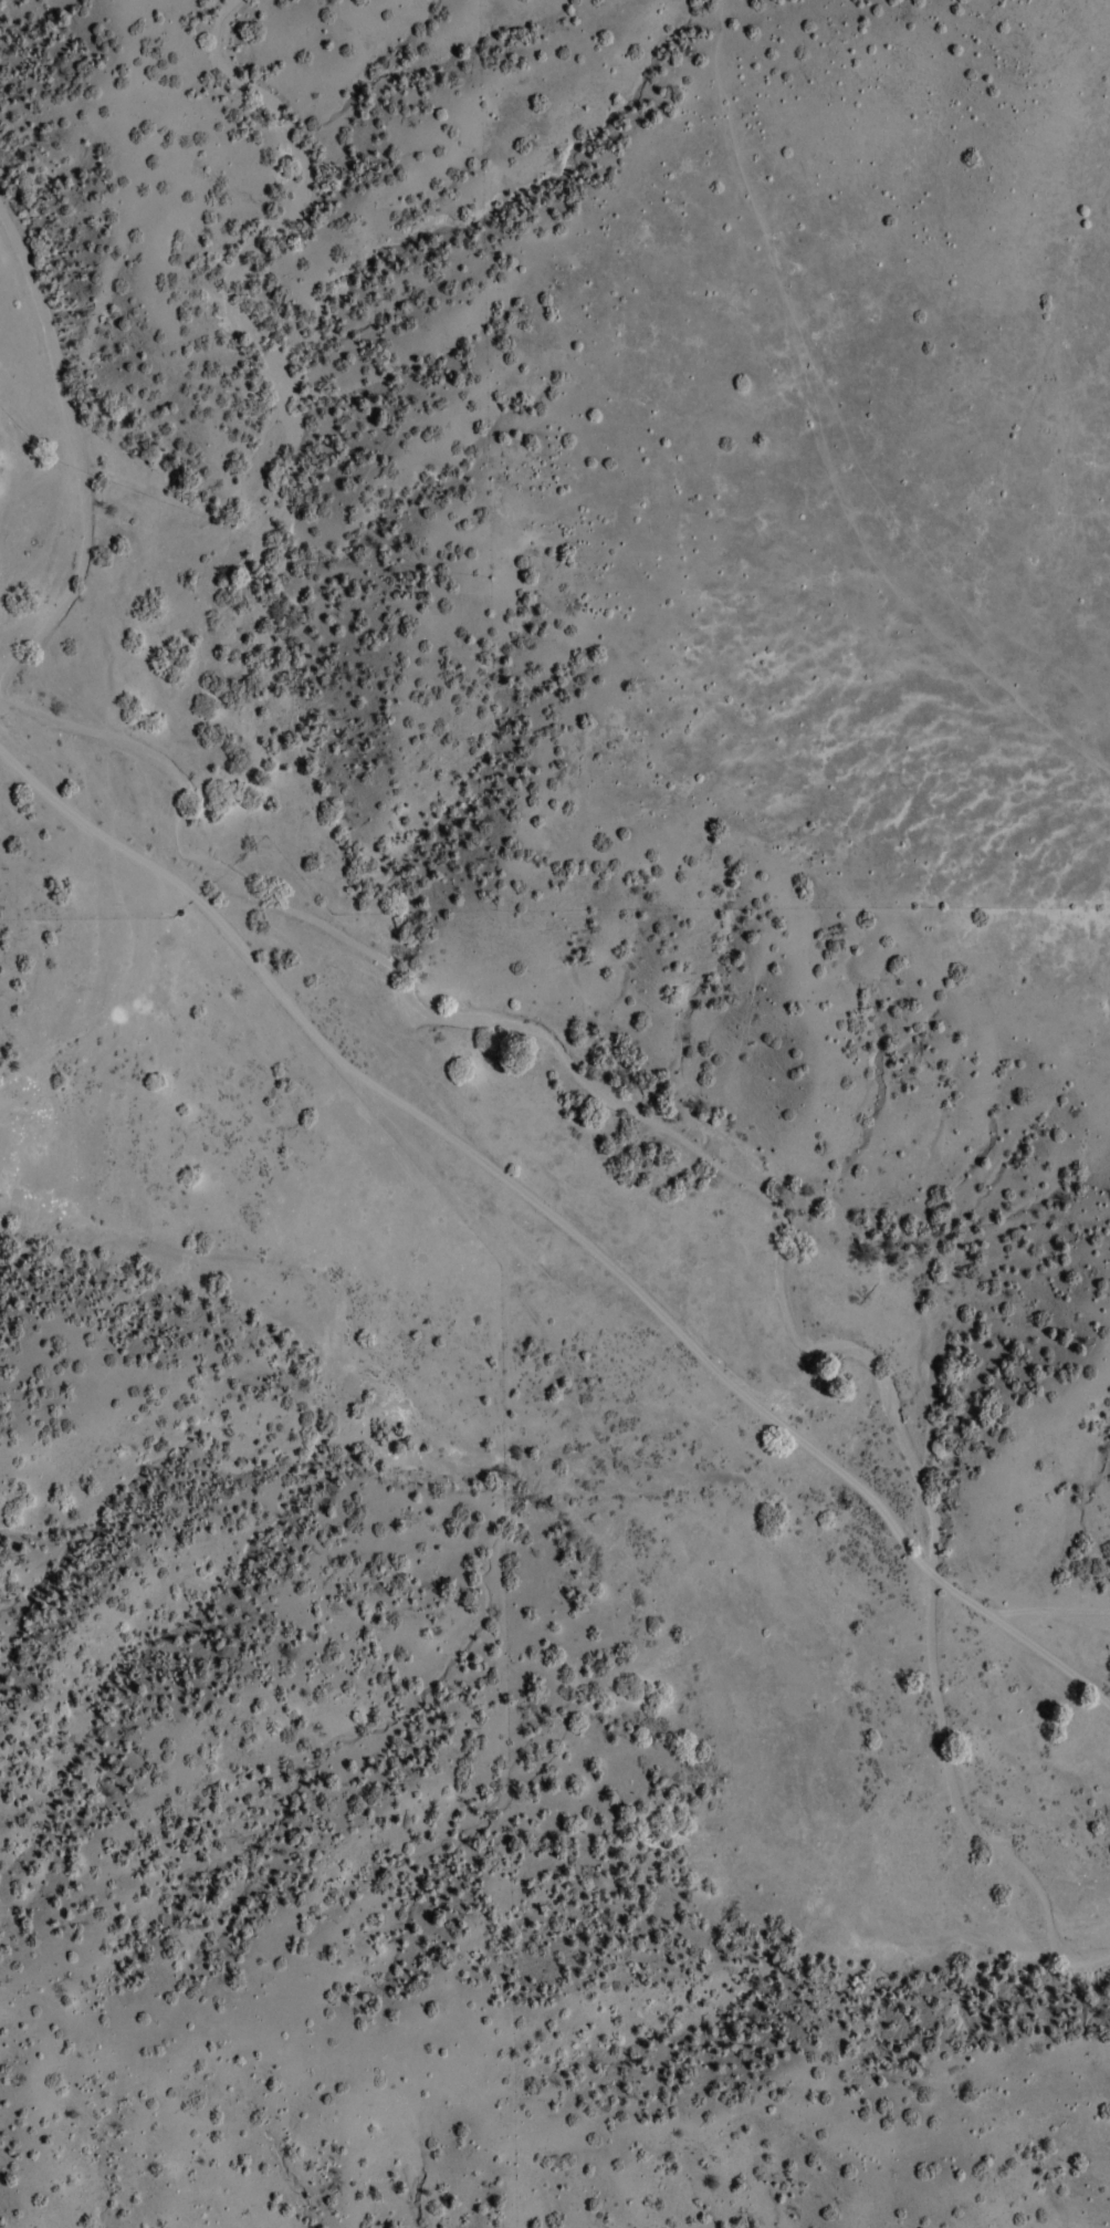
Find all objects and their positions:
road: (811, 437)
road: (561, 1224)

